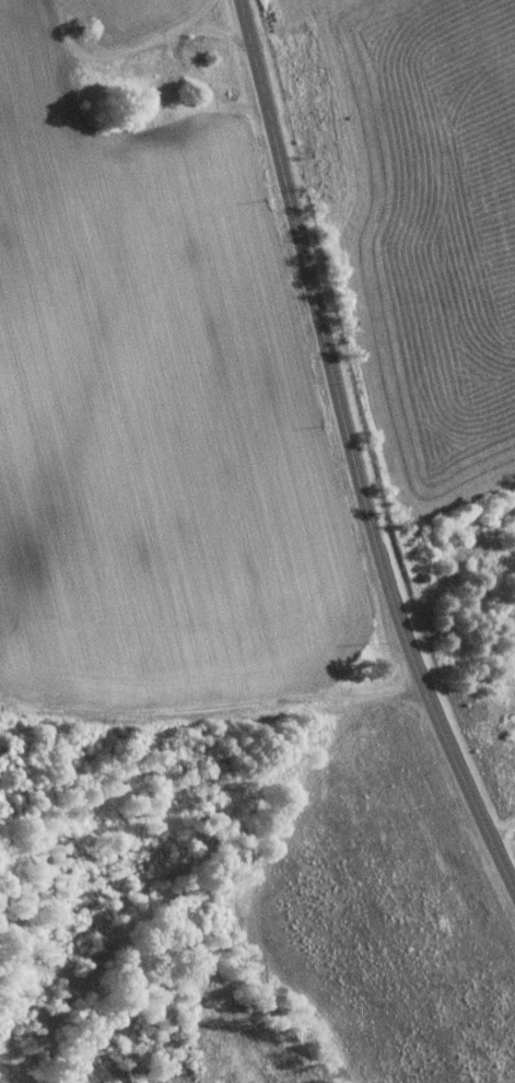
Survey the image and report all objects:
road: (351, 467)
road: (210, 741)

